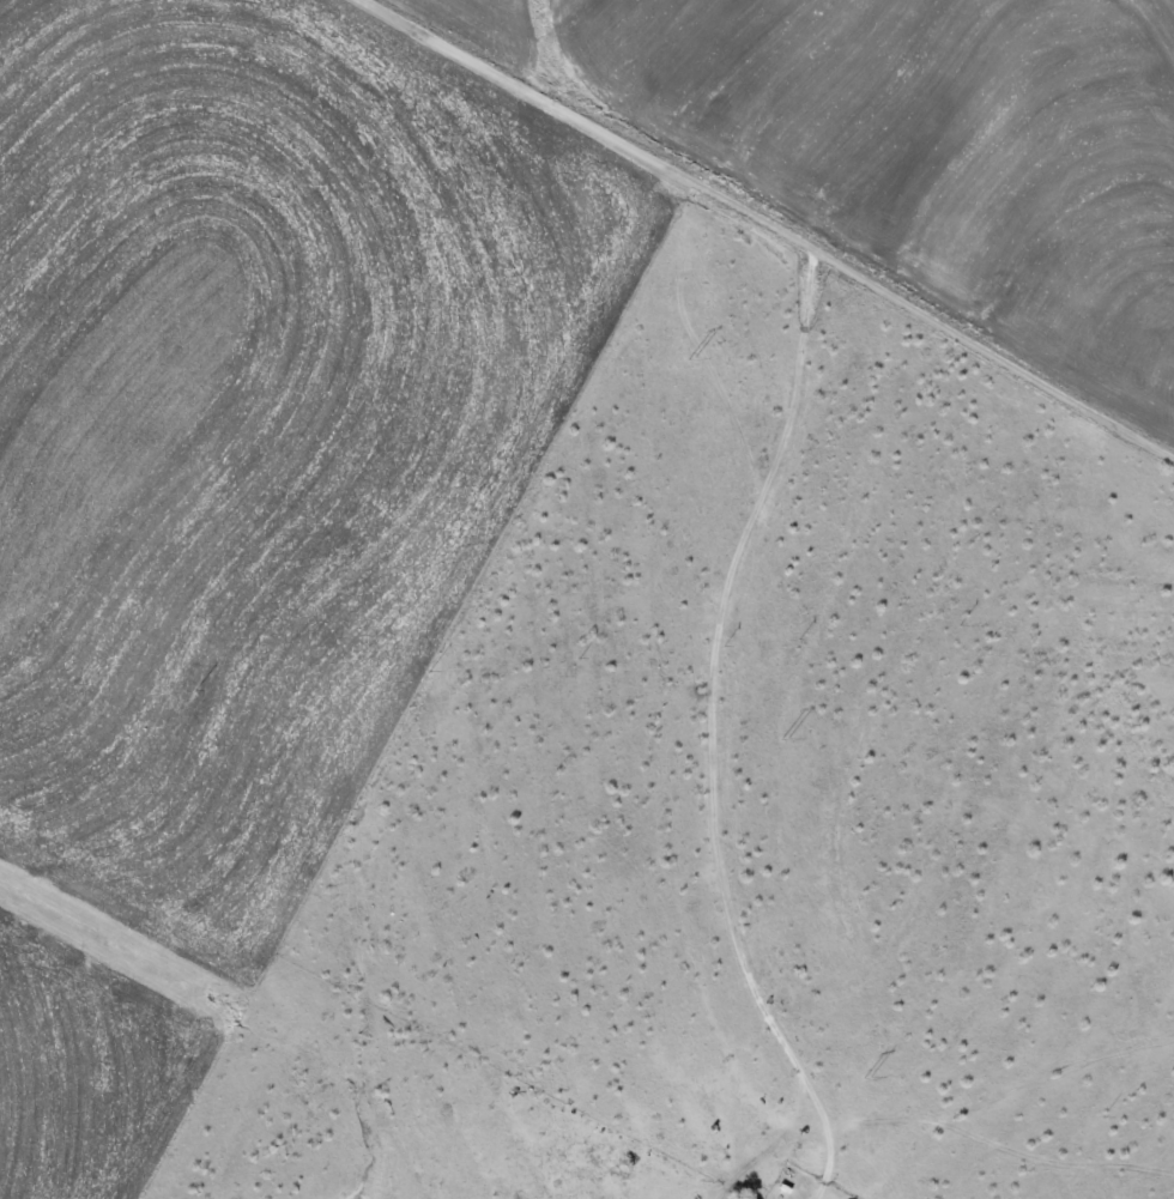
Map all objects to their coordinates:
road: (774, 223)
power tower: (694, 357)
road: (750, 492)
power tower: (783, 738)
road: (758, 994)
power tower: (869, 1077)
building: (745, 1198)

